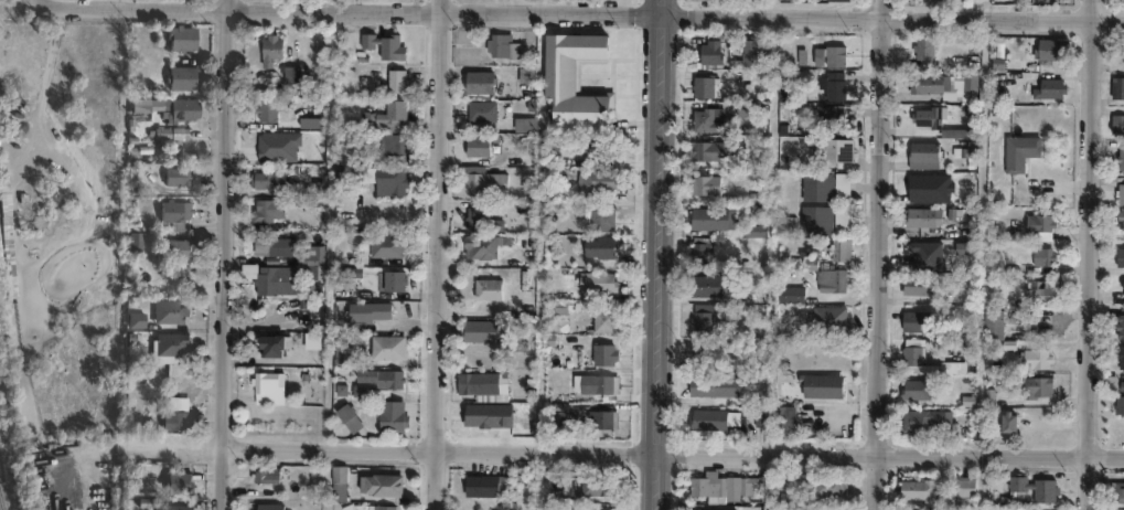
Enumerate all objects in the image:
building: (839, 0)
road: (578, 17)
building: (180, 40)
building: (503, 44)
building: (923, 47)
building: (386, 49)
building: (1052, 50)
building: (275, 53)
building: (707, 53)
building: (1121, 53)
building: (746, 55)
building: (828, 56)
building: (527, 74)
building: (295, 78)
building: (180, 81)
building: (478, 81)
building: (399, 83)
building: (577, 83)
building: (944, 86)
building: (700, 87)
building: (834, 87)
building: (1116, 87)
building: (1048, 88)
building: (481, 109)
building: (742, 109)
building: (176, 110)
building: (270, 113)
building: (397, 116)
building: (827, 119)
building: (703, 121)
building: (525, 123)
building: (938, 123)
building: (1116, 124)
building: (172, 138)
building: (477, 145)
building: (397, 146)
building: (590, 150)
building: (832, 150)
building: (706, 151)
building: (963, 151)
building: (1019, 151)
building: (923, 155)
building: (1120, 158)
building: (171, 174)
building: (483, 178)
building: (595, 180)
building: (389, 182)
building: (270, 183)
building: (700, 185)
building: (824, 187)
building: (552, 191)
building: (1118, 193)
building: (265, 214)
building: (173, 215)
building: (479, 217)
building: (708, 219)
building: (600, 220)
building: (1120, 220)
building: (821, 221)
building: (921, 221)
building: (39, 223)
building: (1036, 230)
building: (750, 231)
building: (4, 235)
building: (479, 247)
building: (601, 247)
building: (141, 248)
building: (272, 249)
building: (388, 249)
building: (698, 249)
building: (837, 251)
building: (172, 252)
road: (660, 254)
road: (1091, 254)
road: (227, 255)
road: (441, 255)
road: (880, 255)
building: (923, 255)
building: (1118, 257)
building: (318, 259)
building: (1040, 261)
building: (272, 281)
building: (828, 281)
building: (598, 283)
building: (397, 286)
building: (703, 286)
building: (489, 289)
building: (913, 289)
building: (1121, 290)
building: (786, 295)
building: (1036, 296)
building: (170, 312)
building: (372, 315)
building: (991, 316)
building: (699, 317)
building: (826, 318)
building: (602, 321)
building: (1120, 321)
building: (911, 322)
building: (135, 323)
building: (995, 327)
building: (477, 329)
building: (320, 346)
building: (170, 348)
building: (270, 348)
building: (510, 348)
building: (390, 351)
building: (698, 352)
building: (603, 353)
building: (1120, 354)
building: (346, 357)
building: (910, 357)
building: (1034, 362)
building: (384, 381)
building: (479, 383)
building: (591, 384)
building: (817, 384)
building: (706, 385)
building: (269, 390)
building: (1034, 390)
building: (917, 391)
building: (1120, 397)
building: (347, 416)
building: (604, 418)
building: (704, 418)
building: (782, 418)
building: (176, 421)
building: (395, 422)
building: (923, 422)
building: (1005, 426)
road: (612, 447)
building: (264, 476)
building: (335, 482)
building: (482, 482)
building: (178, 484)
building: (376, 485)
building: (588, 485)
building: (963, 485)
building: (1034, 486)
building: (720, 487)
building: (827, 487)
building: (914, 488)
railway: (4, 490)
building: (1115, 491)
building: (159, 506)
building: (265, 507)
building: (376, 507)
building: (697, 507)
building: (67, 509)
building: (597, 509)
building: (914, 509)

